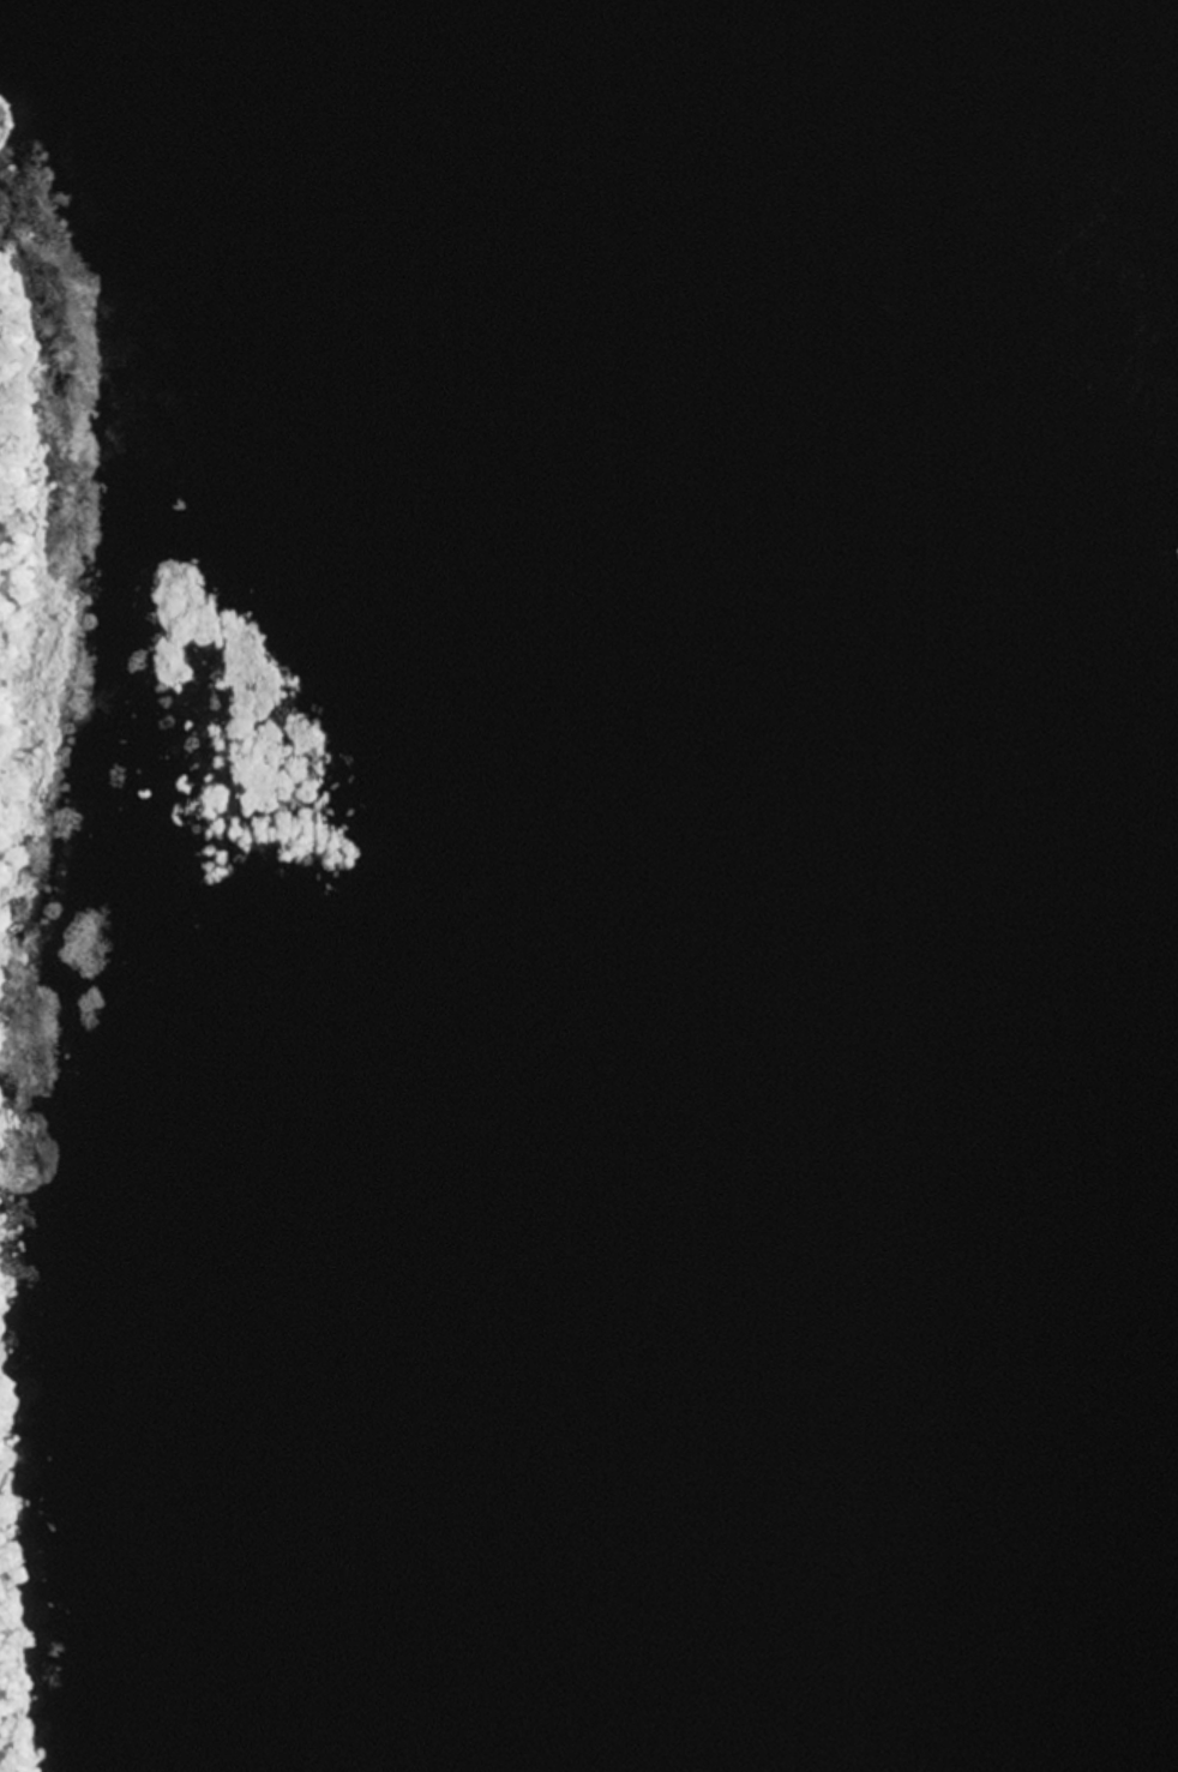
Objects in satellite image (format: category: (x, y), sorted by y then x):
river: (914, 192)

